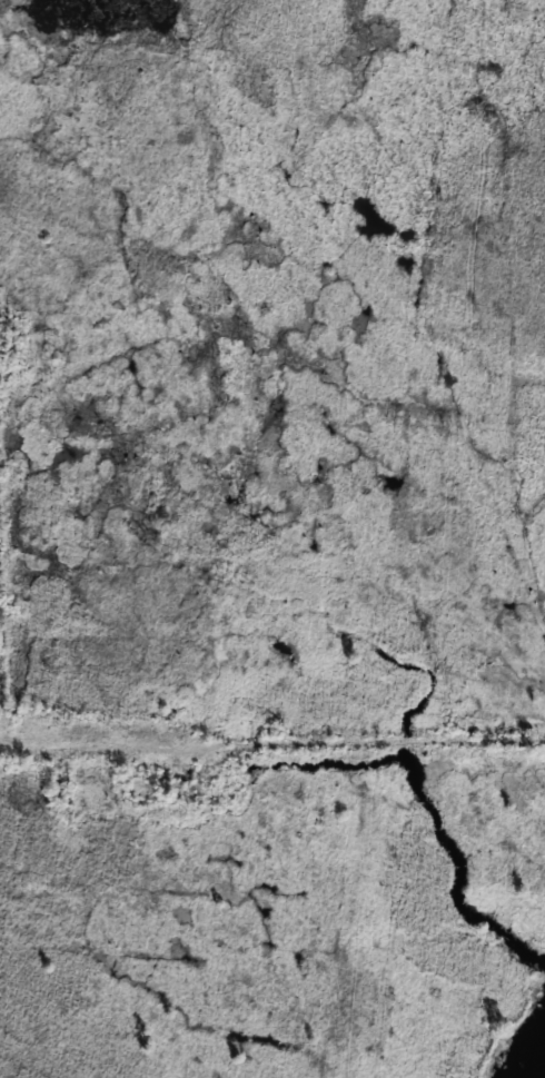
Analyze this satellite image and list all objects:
power tower: (514, 13)
power tower: (440, 679)
road: (3, 725)
road: (271, 748)

